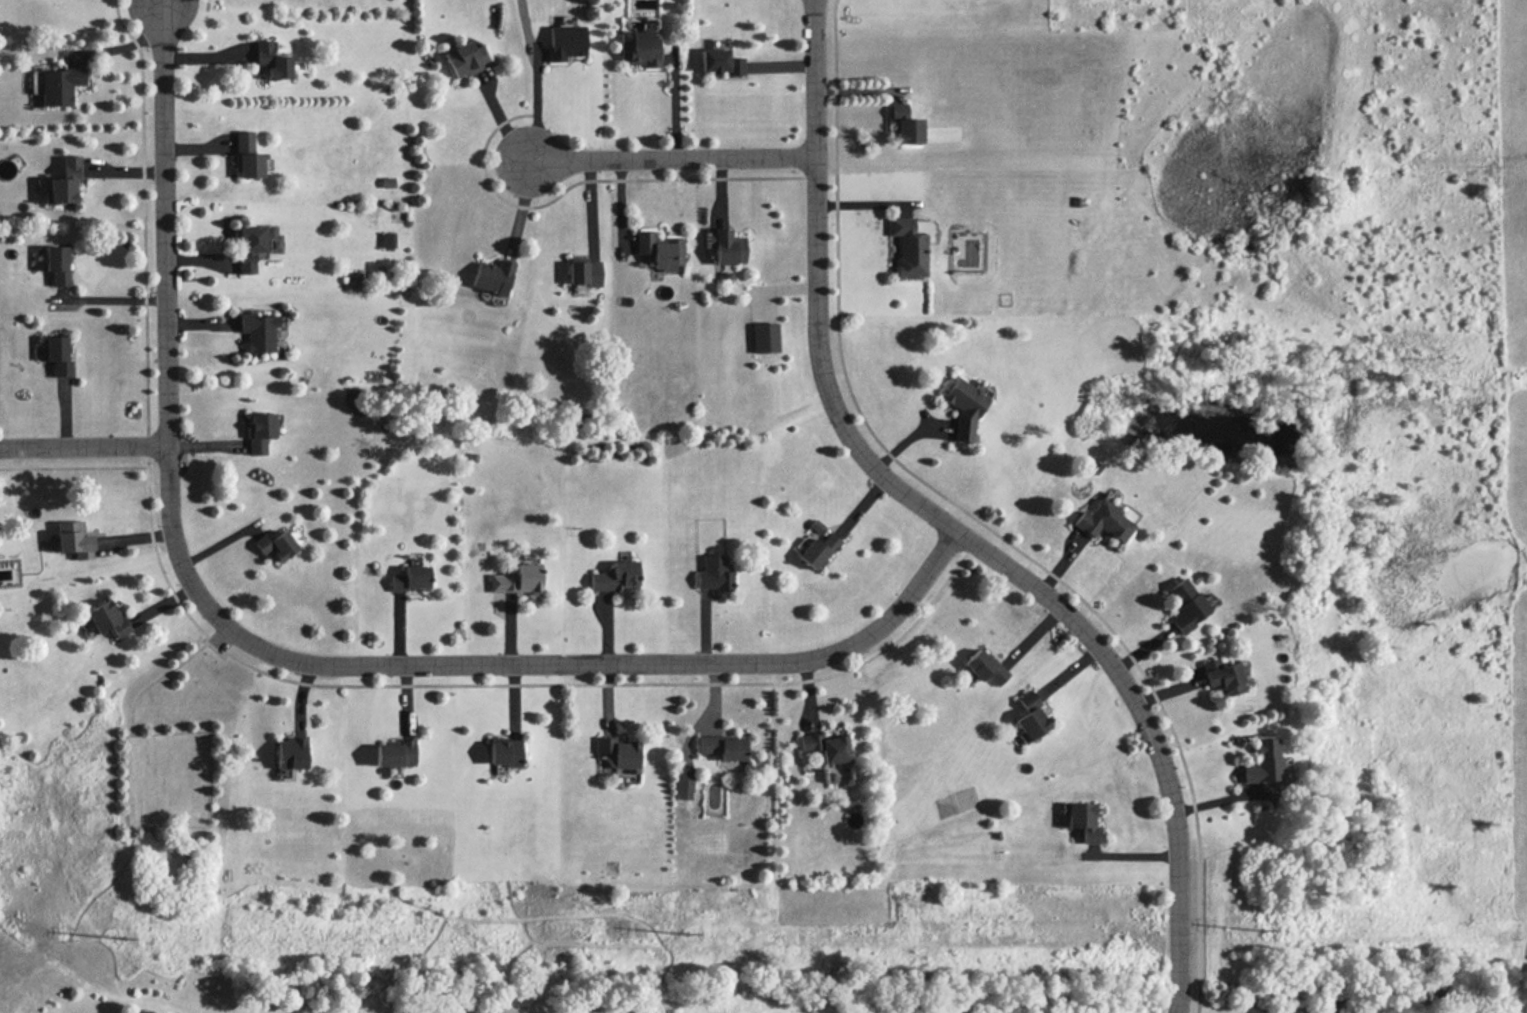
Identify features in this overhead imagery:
road: (204, 5)
building: (565, 41)
building: (639, 47)
building: (465, 58)
building: (276, 61)
building: (720, 62)
building: (56, 84)
road: (538, 101)
road: (676, 104)
building: (896, 110)
building: (908, 130)
road: (670, 153)
building: (247, 156)
road: (585, 178)
building: (64, 182)
building: (387, 240)
building: (251, 246)
building: (726, 246)
building: (908, 247)
building: (660, 250)
building: (57, 264)
building: (583, 271)
building: (492, 276)
road: (113, 296)
building: (258, 331)
building: (765, 337)
building: (58, 355)
building: (963, 406)
building: (260, 431)
road: (83, 443)
road: (73, 466)
road: (976, 519)
building: (1104, 521)
road: (949, 526)
building: (73, 539)
building: (275, 545)
building: (818, 550)
building: (715, 572)
building: (616, 577)
building: (410, 578)
building: (518, 579)
building: (1186, 604)
building: (107, 618)
parking lot: (221, 638)
road: (291, 656)
building: (985, 666)
road: (271, 674)
building: (1223, 677)
road: (153, 681)
building: (1031, 715)
building: (724, 747)
building: (827, 747)
building: (619, 751)
building: (505, 752)
building: (291, 753)
building: (394, 753)
building: (1263, 762)
park: (167, 778)
building: (685, 783)
building: (1083, 821)
power tower: (1261, 933)
power tower: (689, 934)
power tower: (124, 937)

